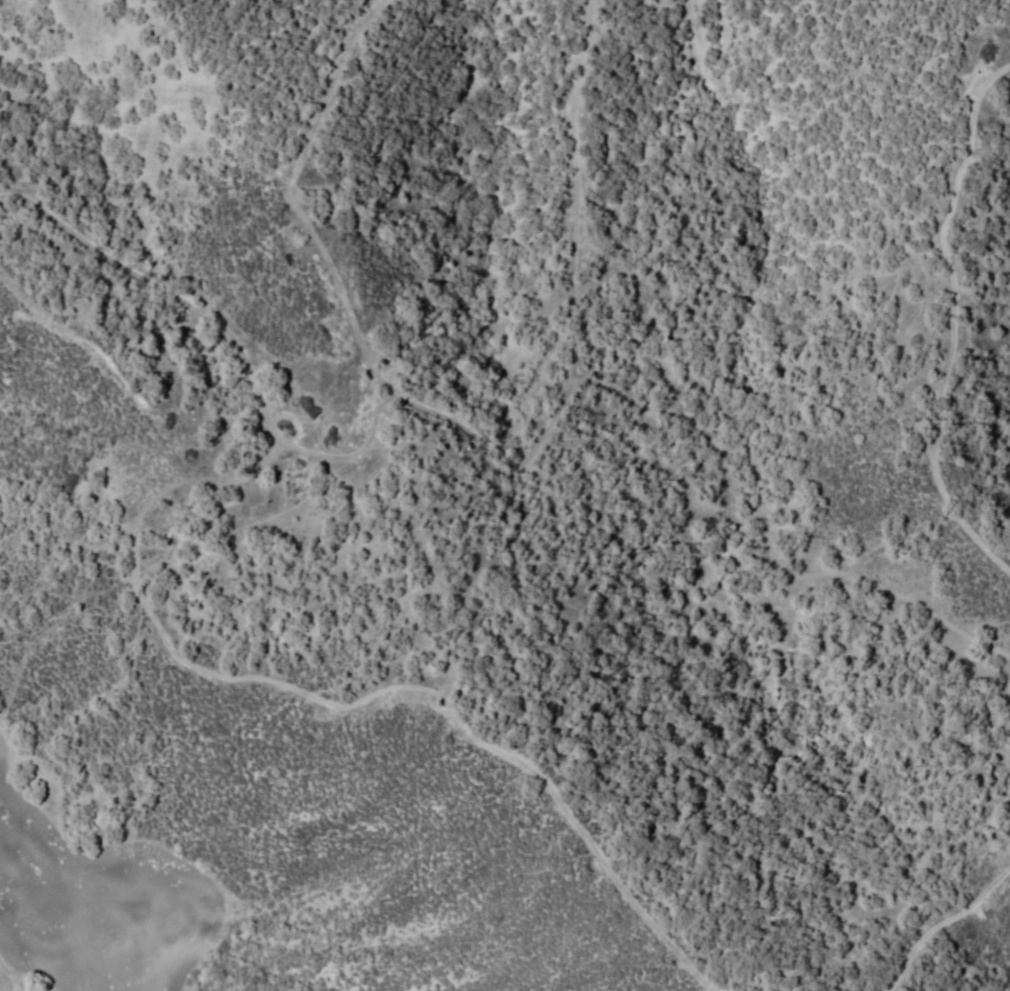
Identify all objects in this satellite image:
road: (3, 985)

